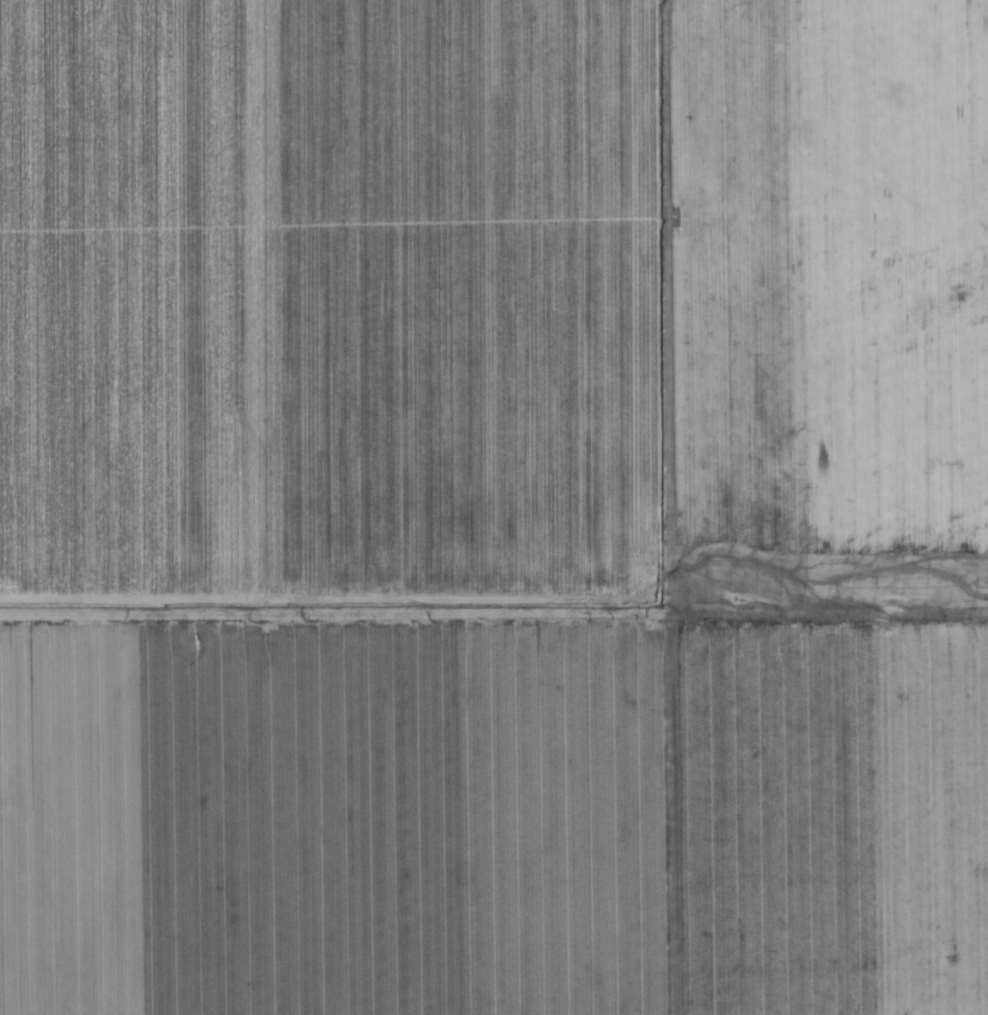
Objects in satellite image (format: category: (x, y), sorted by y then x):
crop: (843, 272)
crop: (335, 311)
road: (649, 340)
building: (734, 479)
crop: (334, 819)
crop: (828, 820)

